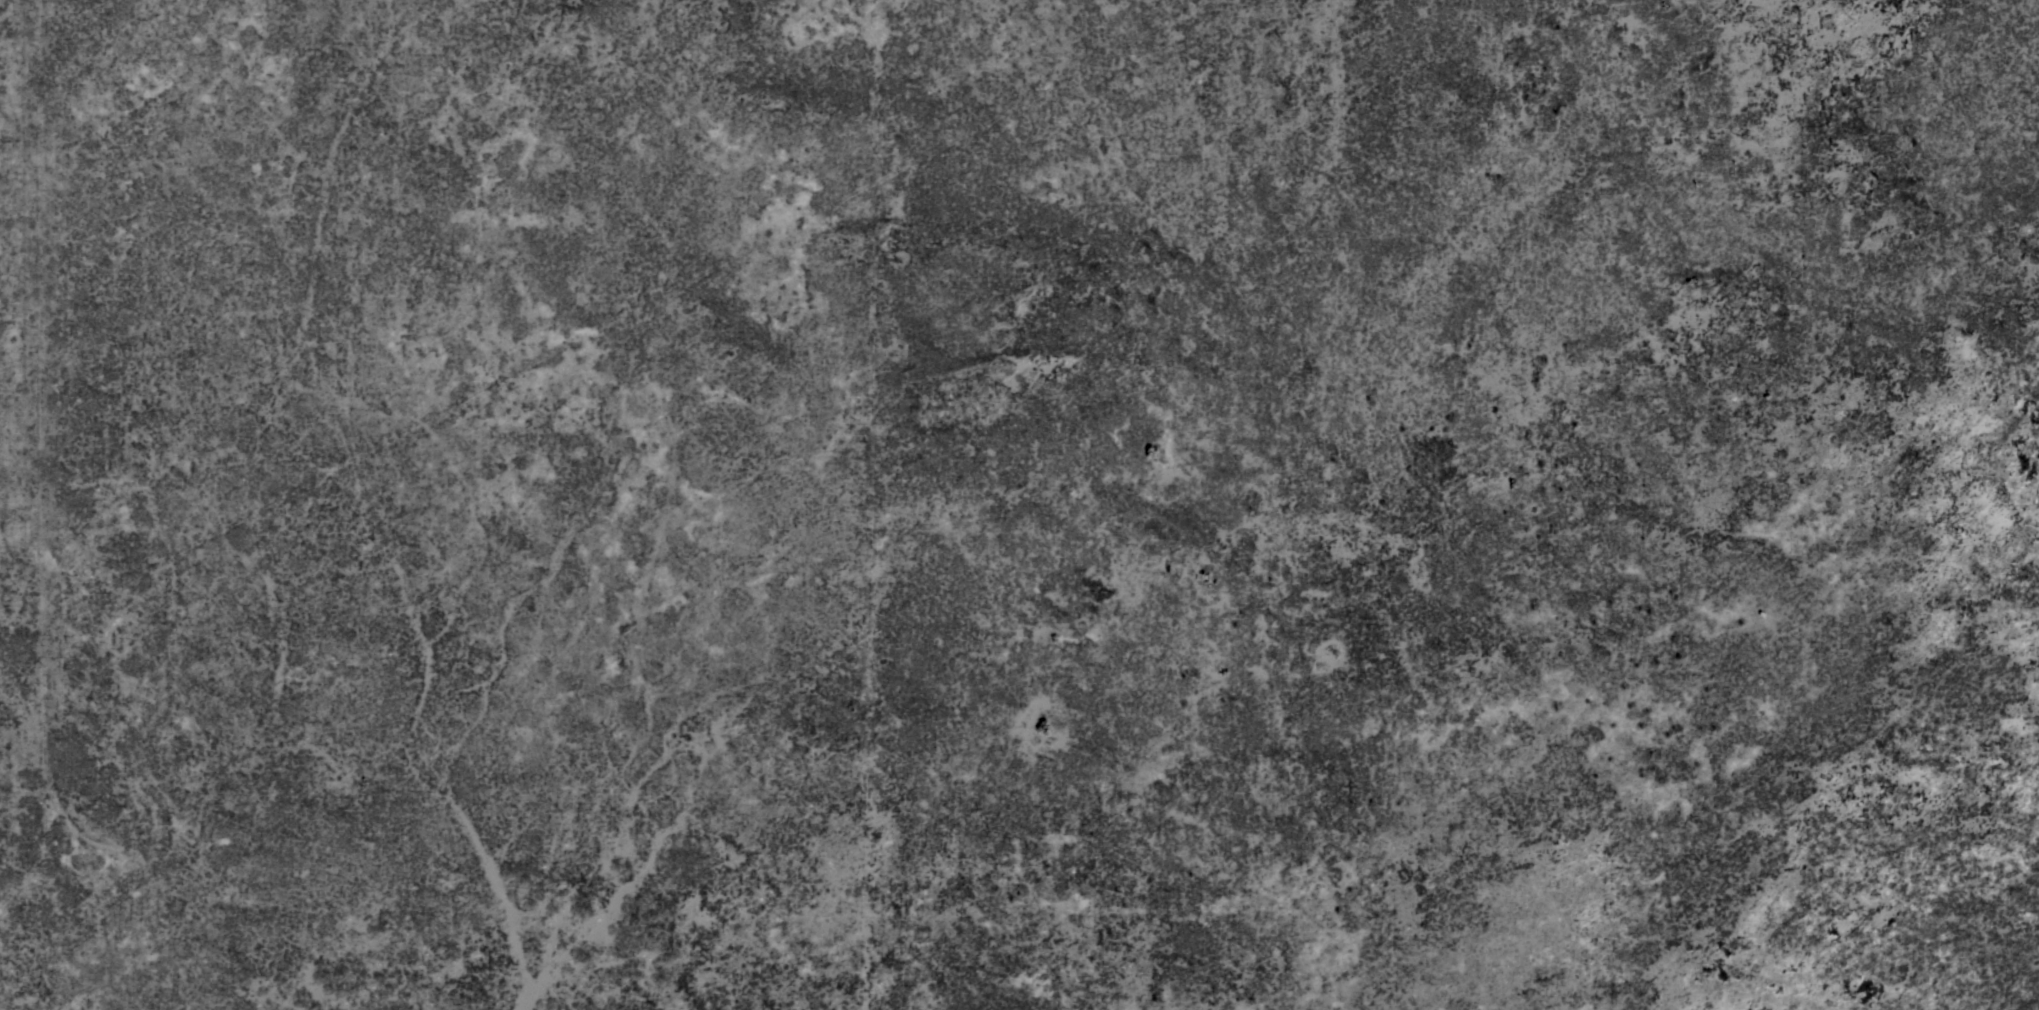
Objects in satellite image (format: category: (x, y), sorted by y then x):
road: (206, 211)
road: (101, 490)
road: (430, 638)
road: (179, 813)
road: (839, 822)
road: (525, 823)

